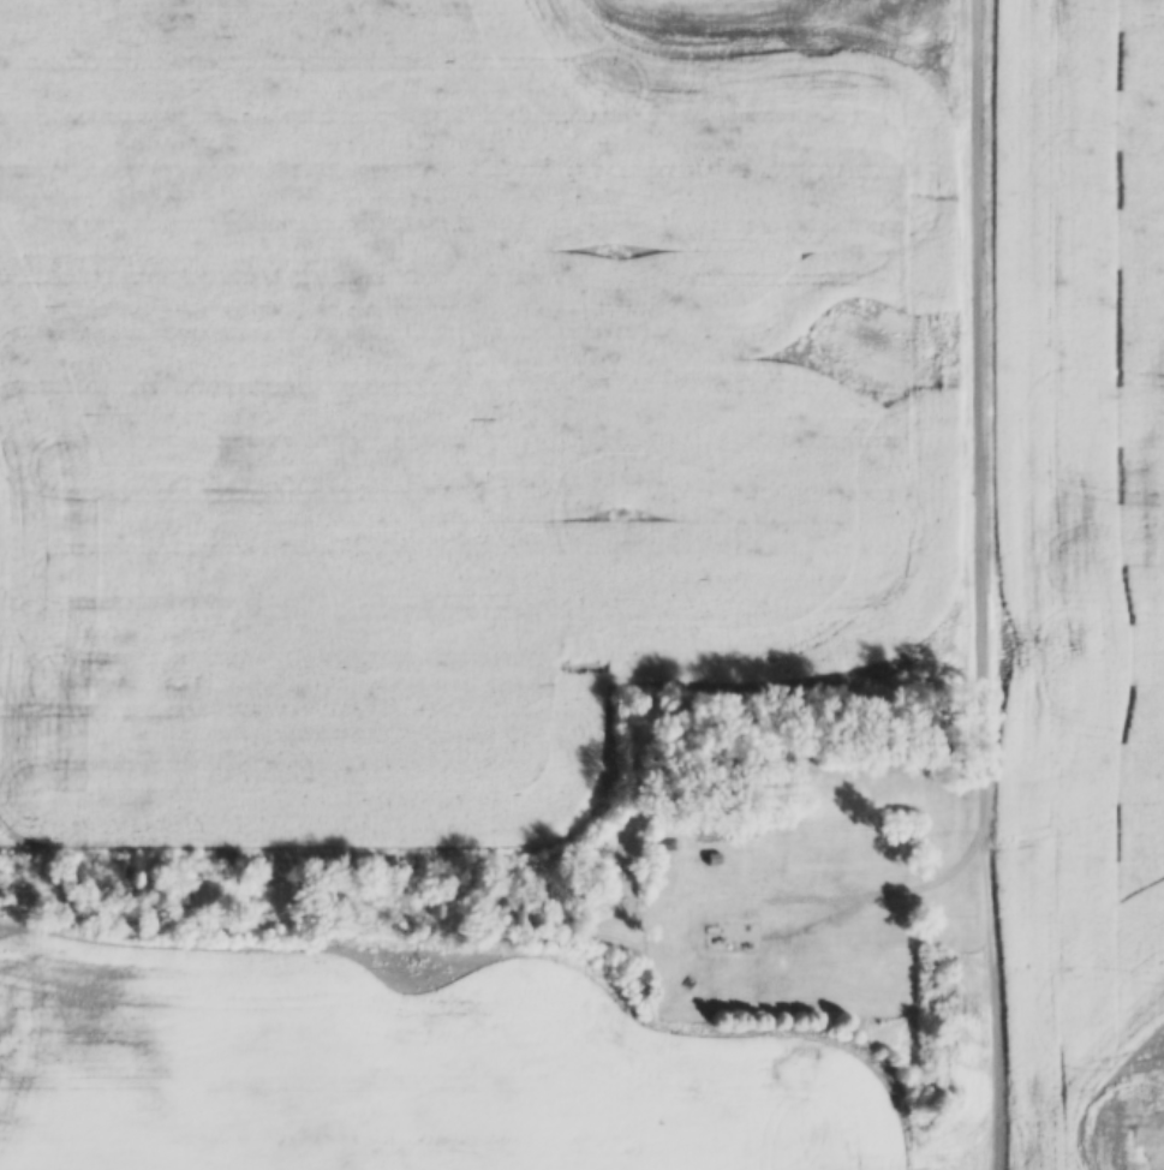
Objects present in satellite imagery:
road: (980, 414)
building: (817, 858)
road: (899, 893)
building: (746, 935)
road: (990, 999)

